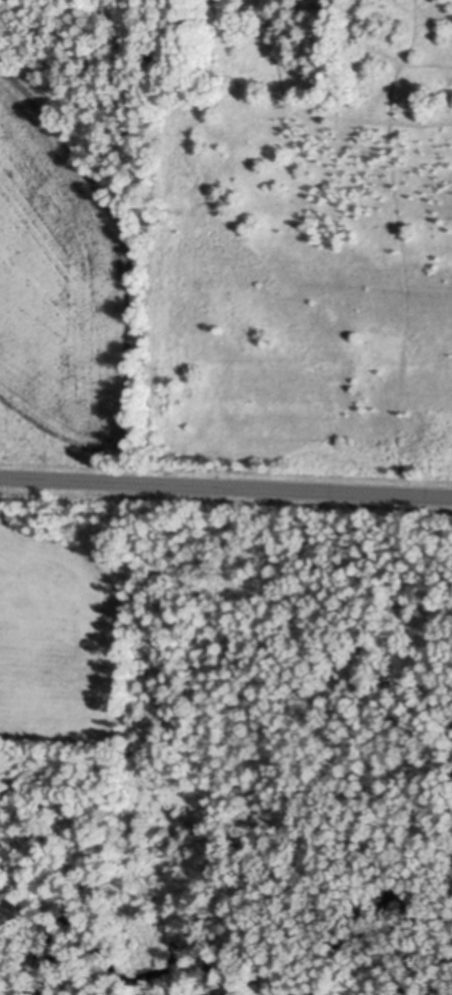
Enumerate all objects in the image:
road: (226, 487)

